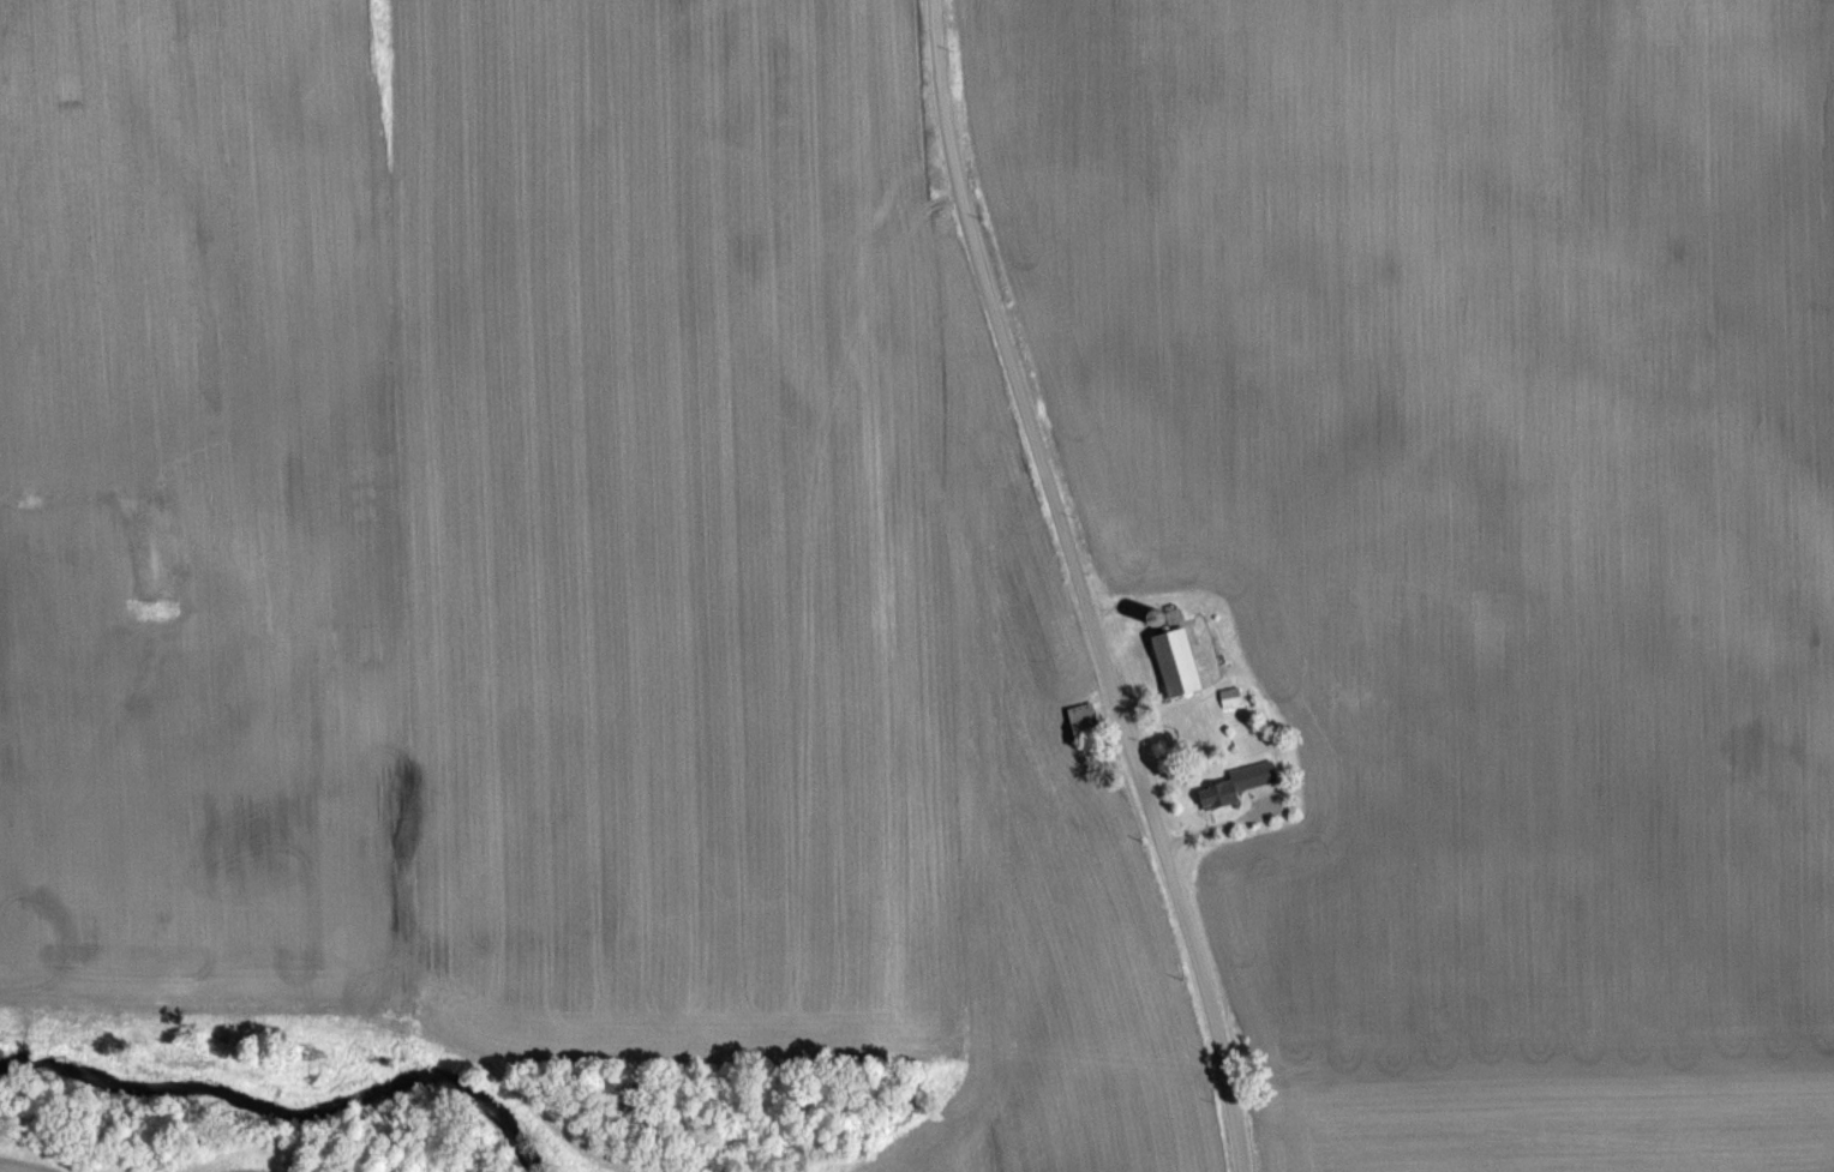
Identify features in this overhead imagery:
road: (1083, 587)
building: (1175, 663)
building: (1230, 698)
building: (1083, 722)
building: (1219, 795)
road: (1227, 827)

